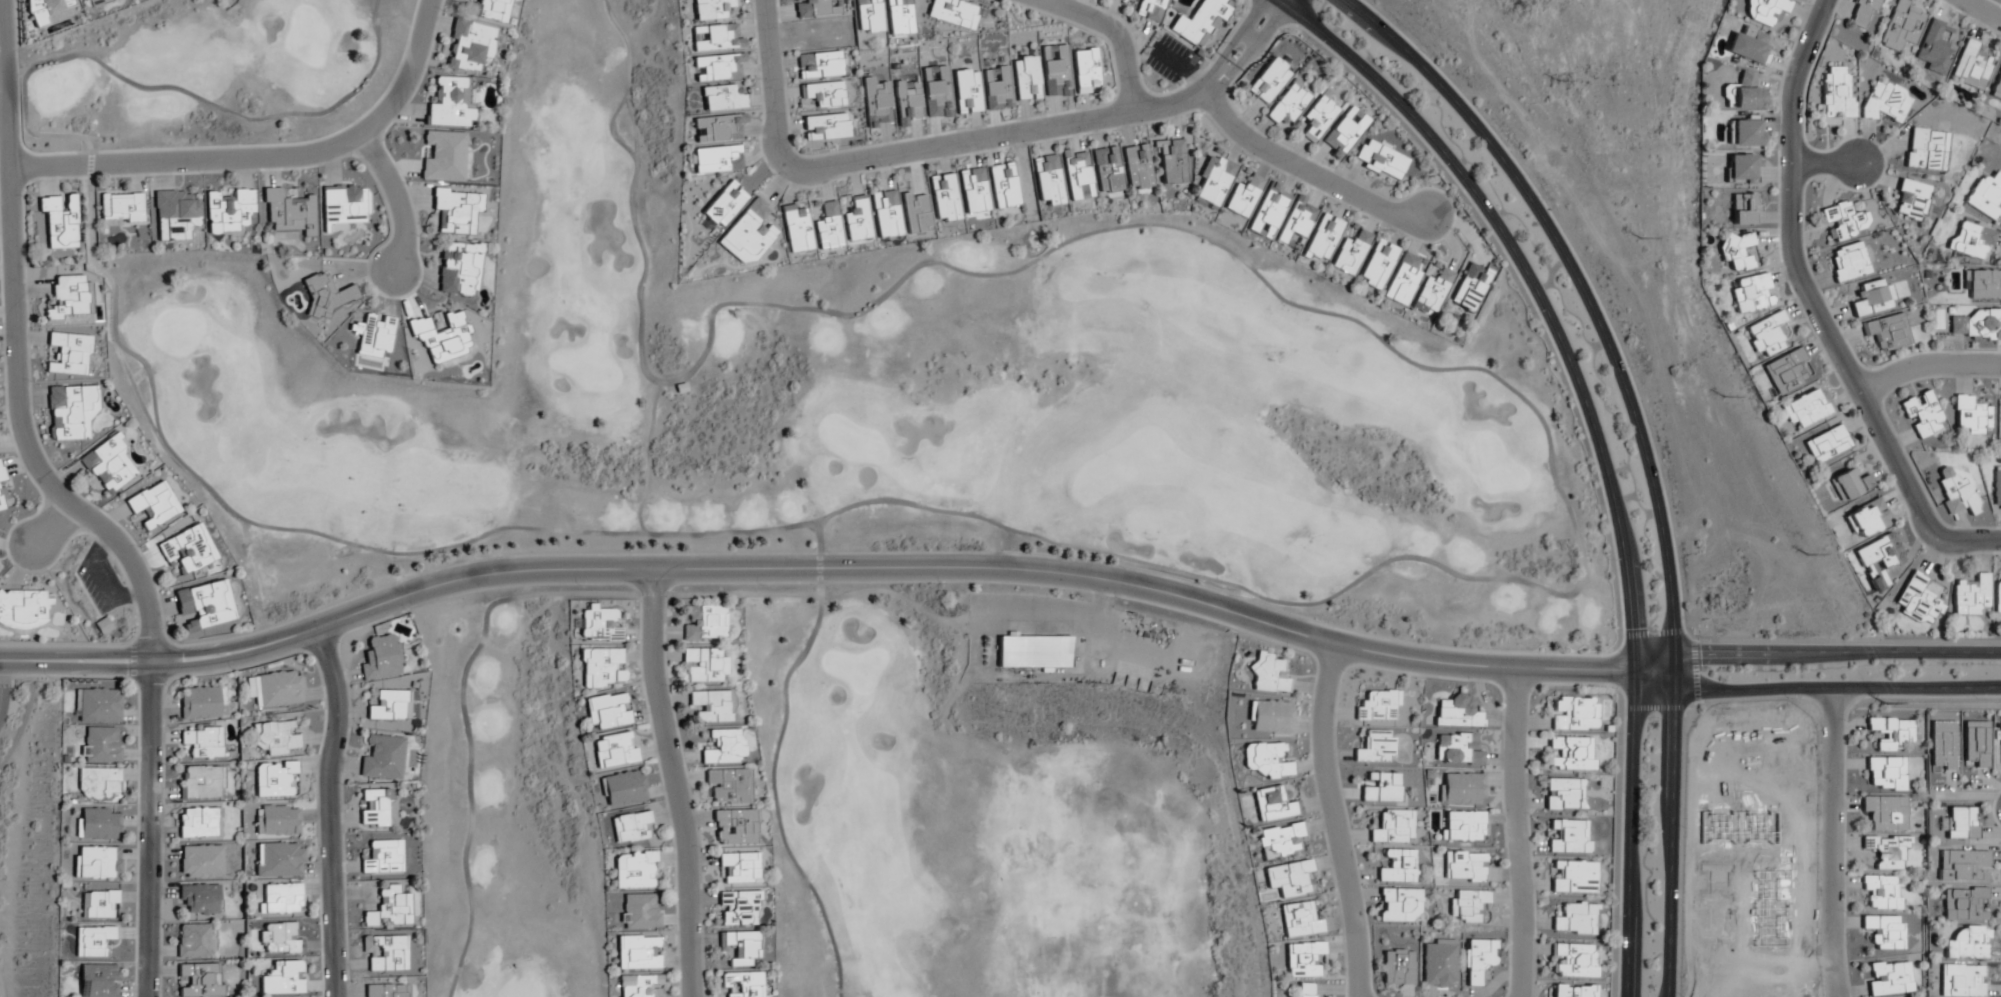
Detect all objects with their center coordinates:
building: (1120, 0)
road: (1281, 2)
road: (1286, 2)
building: (93, 3)
building: (490, 9)
building: (711, 9)
building: (1149, 9)
building: (1764, 10)
road: (1981, 10)
building: (953, 12)
building: (1862, 12)
building: (52, 15)
building: (867, 16)
building: (898, 17)
street lamp: (1968, 20)
building: (1199, 22)
building: (1901, 26)
road: (1110, 31)
building: (715, 37)
road: (1233, 41)
street lamp: (1311, 46)
building: (1934, 46)
building: (469, 47)
building: (1749, 47)
road: (1251, 49)
street lamp: (1423, 54)
building: (819, 64)
building: (1971, 66)
building: (1085, 69)
park: (203, 72)
building: (1025, 78)
street lamp: (1178, 78)
street lamp: (757, 79)
building: (1269, 81)
power tower: (1559, 82)
building: (1996, 87)
building: (966, 91)
building: (1743, 93)
building: (823, 94)
building: (1834, 94)
building: (721, 98)
building: (449, 102)
building: (1885, 102)
building: (1287, 104)
building: (1317, 118)
street lamp: (1145, 125)
building: (825, 126)
building: (1344, 132)
building: (1743, 132)
road: (917, 149)
building: (1925, 149)
building: (443, 156)
road: (267, 159)
building: (716, 159)
building: (1379, 160)
building: (1171, 161)
road: (1824, 163)
building: (1137, 167)
street lamp: (1434, 167)
building: (1741, 168)
street lamp: (893, 169)
building: (1107, 169)
road: (1307, 171)
building: (1076, 174)
building: (1047, 180)
building: (1213, 180)
building: (1002, 185)
building: (973, 190)
building: (1242, 196)
building: (1986, 196)
street lamp: (23, 197)
building: (943, 197)
street lamp: (1543, 199)
building: (1910, 199)
road: (397, 200)
building: (344, 204)
building: (724, 204)
building: (121, 208)
building: (1743, 209)
building: (456, 210)
building: (288, 211)
building: (228, 212)
building: (885, 213)
building: (175, 215)
building: (856, 220)
building: (59, 221)
building: (1843, 221)
building: (1295, 223)
building: (795, 227)
building: (828, 227)
street lamp: (1452, 230)
building: (748, 233)
building: (1322, 238)
power tower: (1639, 239)
building: (1971, 240)
building: (1736, 251)
building: (1349, 253)
building: (1848, 262)
building: (1376, 264)
building: (458, 269)
building: (1402, 279)
building: (1984, 285)
building: (1469, 287)
building: (1433, 289)
building: (326, 294)
building: (1752, 294)
building: (69, 298)
building: (1871, 298)
road: (1815, 309)
street lamp: (1529, 313)
building: (1976, 324)
building: (1887, 332)
building: (375, 335)
building: (1767, 335)
building: (441, 337)
building: (69, 354)
road: (1927, 365)
street lamp: (1628, 367)
building: (1786, 371)
street lamp: (1831, 371)
street lamp: (31, 382)
power tower: (1724, 398)
building: (1807, 408)
building: (70, 411)
building: (1922, 414)
building: (1971, 416)
building: (1827, 444)
road: (1598, 447)
road: (1645, 449)
road: (643, 457)
building: (109, 465)
building: (1, 474)
building: (1850, 484)
building: (1957, 492)
building: (1997, 492)
building: (1, 500)
road: (76, 502)
building: (153, 505)
building: (1867, 518)
street lamp: (1906, 519)
road: (52, 522)
park: (867, 538)
street lamp: (137, 547)
building: (186, 549)
power tower: (1810, 556)
street lamp: (1607, 559)
building: (1878, 560)
street lamp: (11, 566)
road: (815, 573)
parking lot: (99, 581)
road: (1210, 583)
building: (1971, 596)
building: (1997, 597)
building: (1918, 600)
building: (204, 605)
road: (487, 607)
building: (23, 609)
building: (704, 624)
building: (102, 625)
building: (598, 625)
street lamp: (1701, 637)
street lamp: (1884, 639)
building: (1034, 652)
road: (1815, 655)
building: (380, 658)
building: (704, 666)
building: (601, 667)
street lamp: (233, 670)
building: (1267, 674)
building: (275, 688)
road: (1813, 690)
street lamp: (1788, 699)
street lamp: (1976, 699)
building: (202, 703)
power tower: (1887, 703)
building: (713, 705)
building: (1377, 705)
building: (390, 706)
building: (96, 707)
building: (608, 711)
building: (1457, 712)
building: (1574, 714)
road: (26, 715)
building: (1269, 716)
building: (1890, 732)
street lamp: (1617, 734)
building: (276, 737)
building: (202, 742)
building: (1976, 745)
building: (99, 747)
building: (1375, 747)
building: (724, 748)
building: (1942, 748)
building: (615, 750)
building: (1457, 750)
building: (1570, 753)
building: (382, 759)
building: (1265, 760)
street lamp: (164, 765)
building: (1885, 773)
building: (272, 778)
building: (201, 782)
road: (673, 784)
building: (97, 785)
street lamp: (342, 785)
building: (728, 786)
building: (624, 788)
building: (1381, 788)
building: (1461, 789)
building: (1563, 794)
road: (772, 796)
building: (1273, 804)
building: (377, 808)
road: (328, 810)
building: (1886, 812)
street lamp: (1532, 816)
building: (276, 821)
road: (1332, 821)
building: (198, 822)
building: (1960, 822)
building: (98, 826)
building: (734, 826)
building: (1463, 826)
building: (631, 827)
building: (1393, 827)
street lamp: (1682, 827)
road: (1517, 832)
park: (28, 834)
building: (1569, 837)
building: (1280, 841)
road: (1834, 843)
building: (1886, 851)
building: (383, 857)
building: (277, 861)
building: (201, 862)
building: (96, 863)
building: (1959, 865)
building: (738, 867)
building: (1397, 867)
building: (1465, 867)
building: (635, 870)
building: (1574, 877)
building: (1288, 878)
building: (1881, 891)
building: (200, 899)
building: (279, 899)
building: (1962, 903)
building: (98, 904)
building: (1398, 905)
building: (1468, 906)
building: (390, 908)
building: (738, 908)
building: (639, 912)
street lamp: (1612, 916)
building: (1575, 919)
street lamp: (162, 920)
building: (1299, 920)
building: (1885, 931)
building: (279, 939)
building: (91, 940)
building: (194, 941)
building: (1967, 943)
building: (638, 952)
building: (385, 953)
building: (1302, 958)
building: (1478, 960)
building: (1574, 961)
building: (1439, 964)
building: (1397, 967)
building: (1889, 978)
building: (282, 979)
building: (98, 980)
building: (201, 980)
building: (1961, 980)
building: (743, 983)
building: (640, 985)
building: (386, 990)
building: (1306, 990)
building: (1572, 990)
street lamp: (1678, 994)

